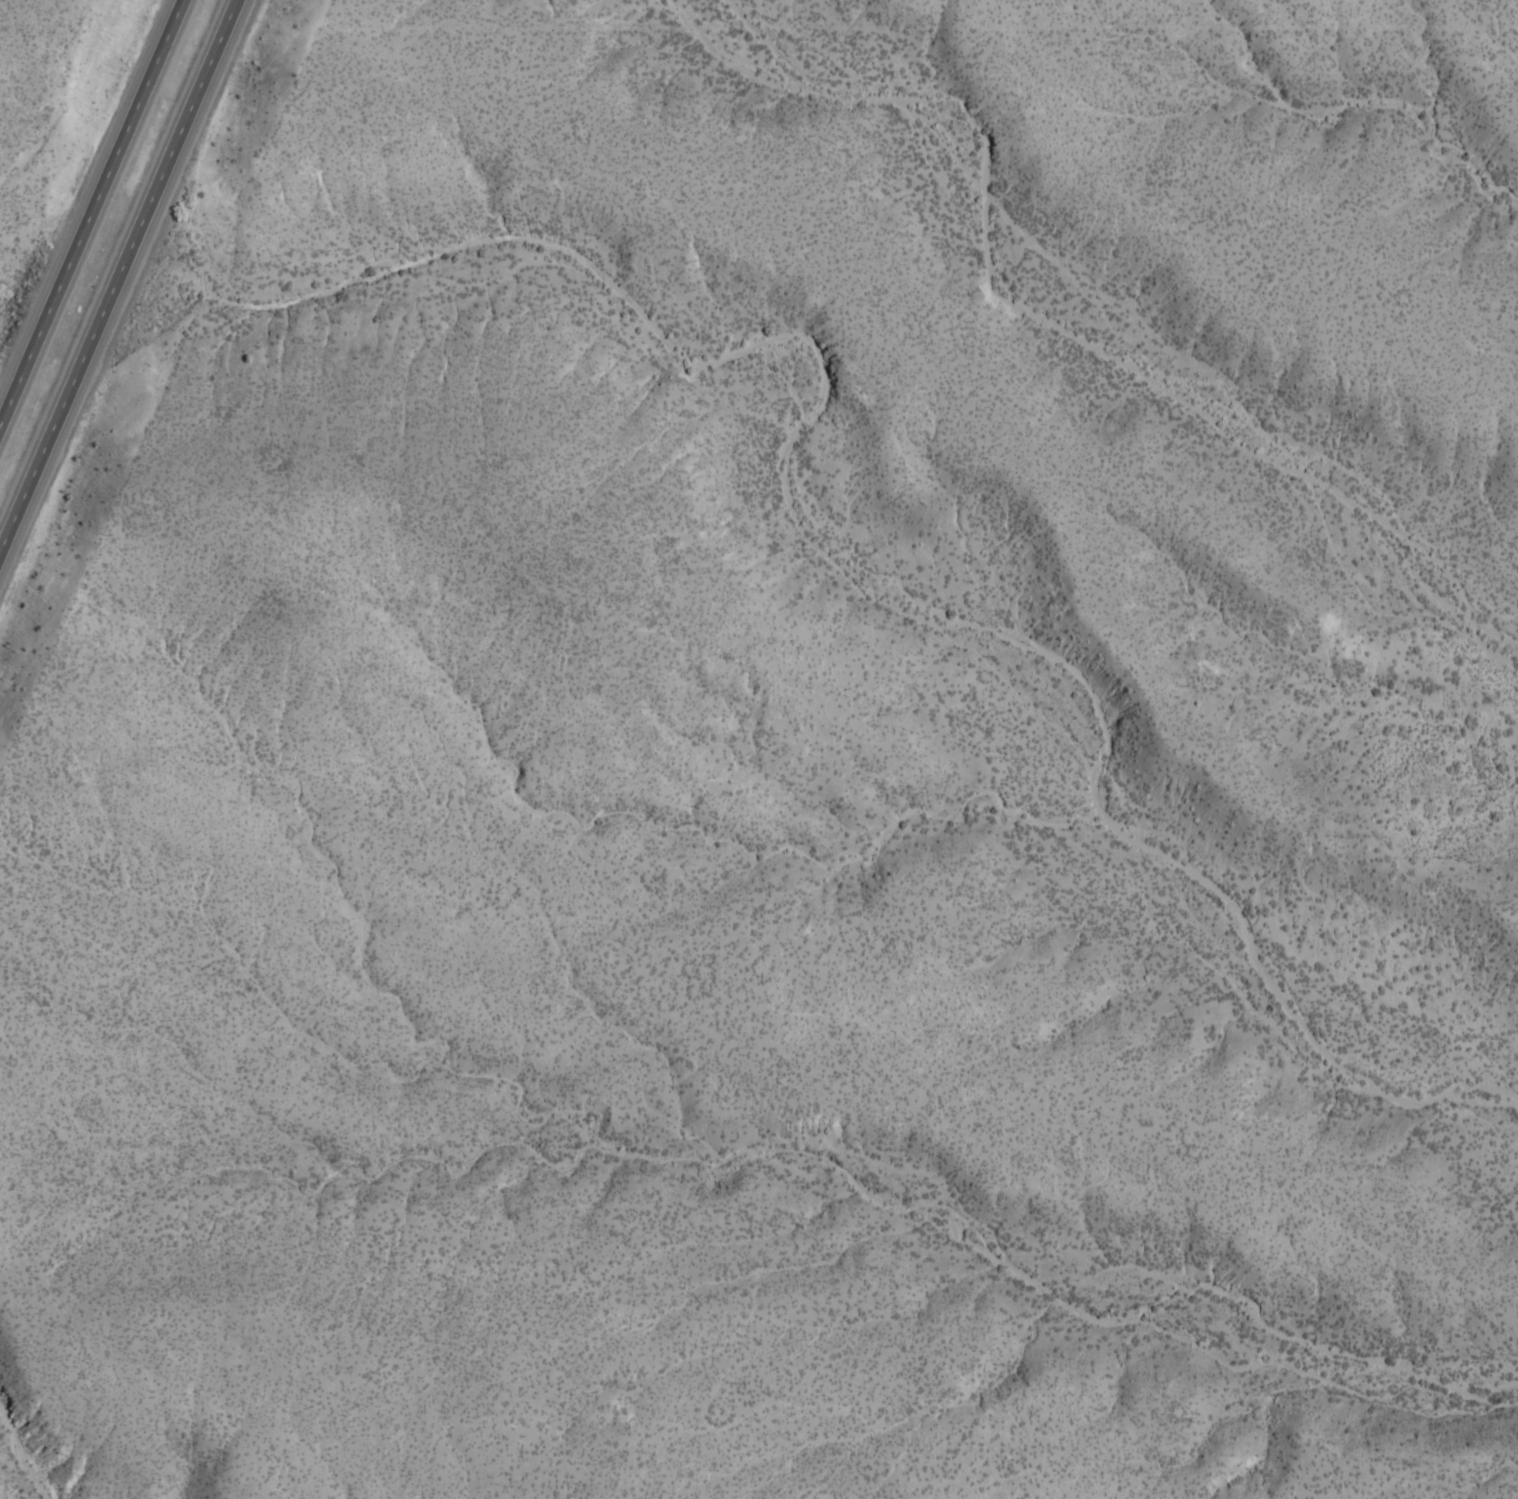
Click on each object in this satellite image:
road: (91, 212)
road: (118, 275)

